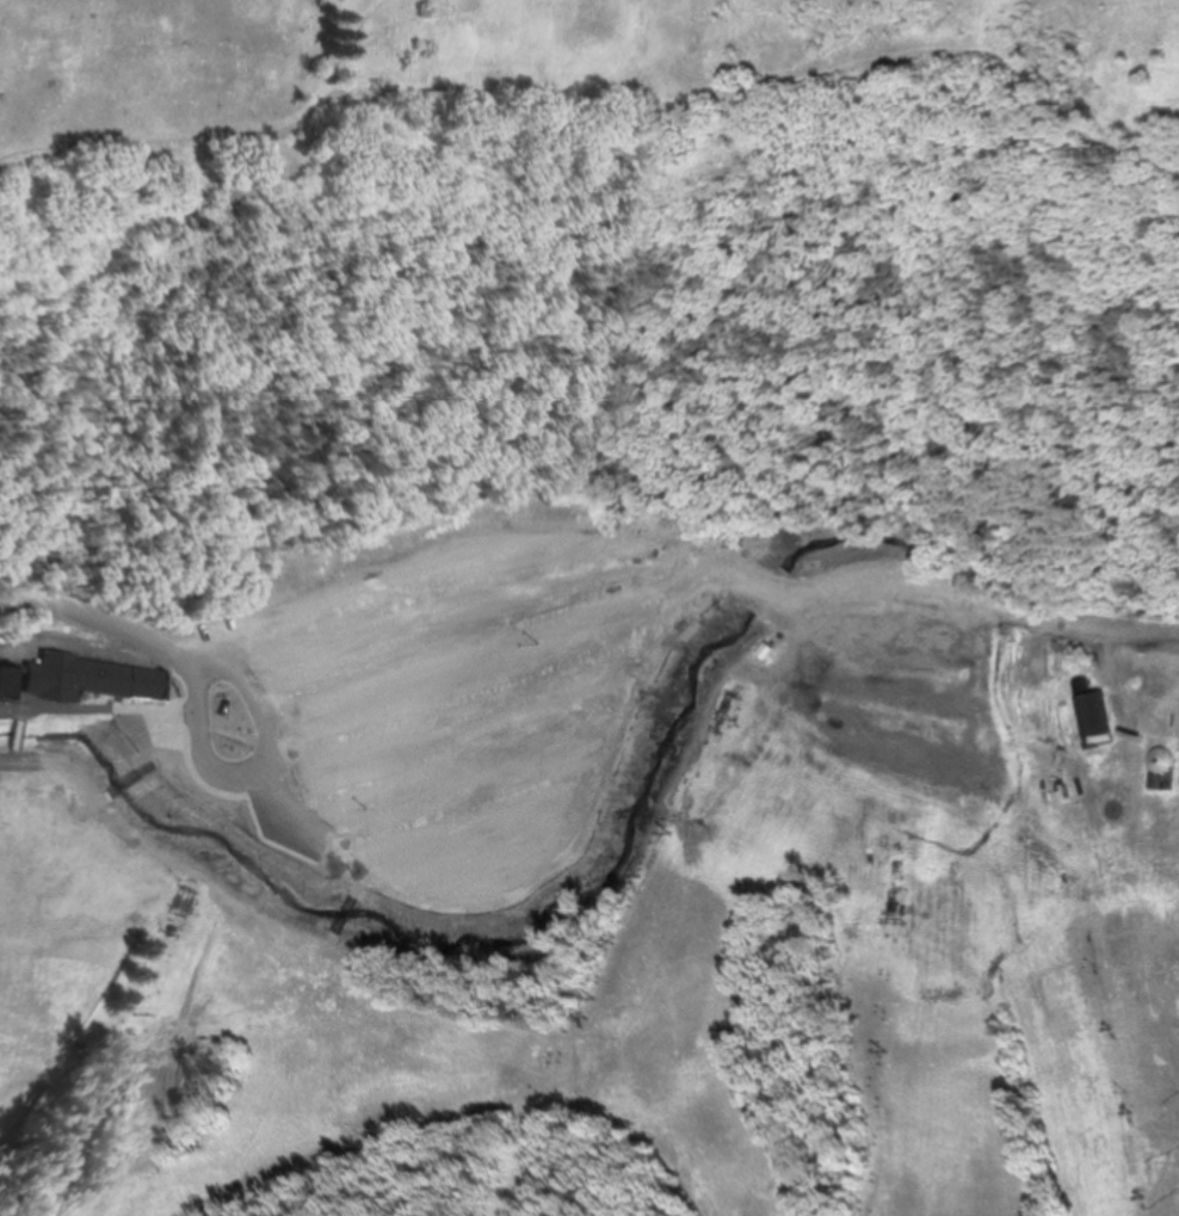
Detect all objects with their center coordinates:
road: (771, 91)
road: (220, 131)
park: (585, 158)
road: (558, 621)
building: (79, 678)
building: (1094, 714)
parking lot: (473, 748)
road: (115, 763)
aerialway pylon: (675, 832)
building: (1129, 838)
aerialway pylon: (167, 934)
ski resort: (648, 965)
aerialway pylon: (600, 996)
aerialway pylon: (132, 1014)
aerialway pylon: (591, 1018)
aerialway pylon: (891, 1047)

